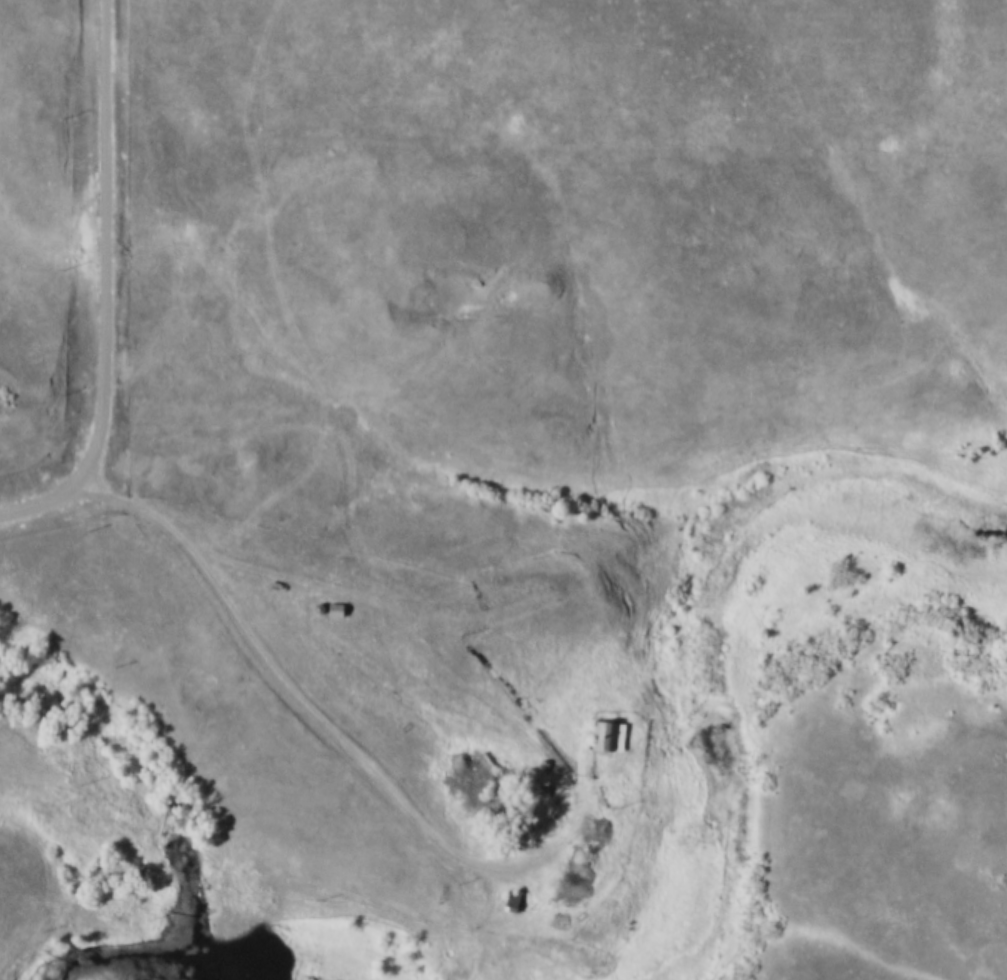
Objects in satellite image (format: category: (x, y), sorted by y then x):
road: (0, 0)
road: (110, 290)
building: (331, 611)
road: (305, 706)
building: (600, 738)
building: (507, 903)
building: (553, 921)

